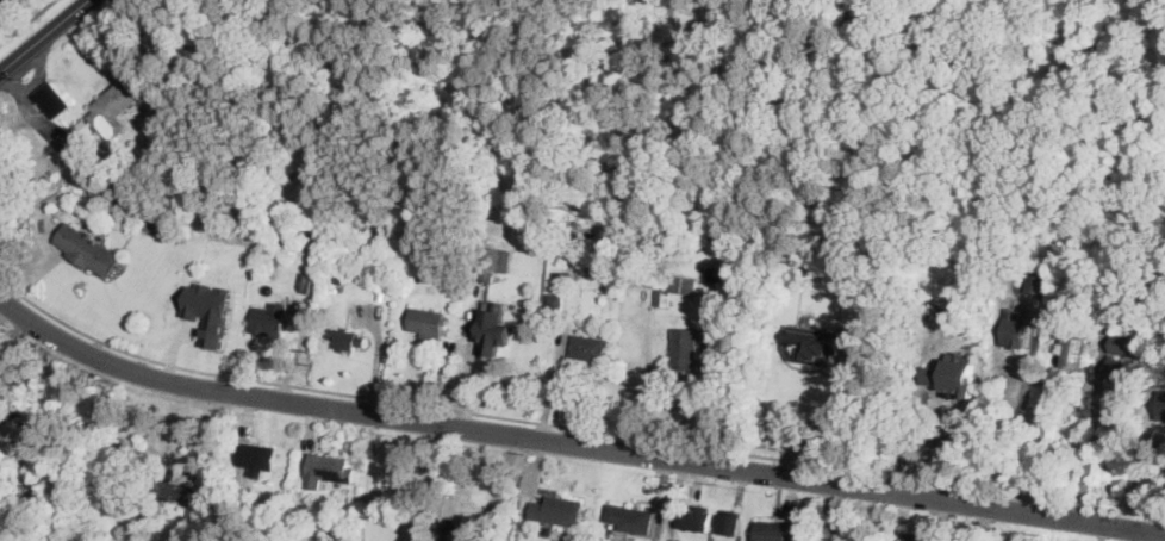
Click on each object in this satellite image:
road: (26, 20)
road: (44, 36)
park: (791, 98)
building: (54, 101)
building: (114, 106)
building: (83, 130)
building: (148, 145)
building: (107, 173)
building: (48, 178)
building: (98, 191)
building: (388, 237)
building: (619, 247)
building: (87, 248)
building: (497, 262)
building: (361, 274)
building: (337, 275)
building: (449, 279)
building: (312, 282)
building: (1036, 284)
building: (685, 285)
building: (664, 297)
building: (1064, 303)
building: (943, 305)
building: (555, 306)
building: (270, 319)
building: (426, 323)
building: (497, 325)
building: (1015, 329)
building: (349, 340)
building: (1121, 343)
building: (811, 344)
building: (588, 347)
building: (1074, 350)
building: (684, 353)
building: (1120, 368)
building: (4, 372)
building: (936, 385)
building: (1161, 403)
building: (6, 415)
road: (826, 421)
road: (571, 428)
road: (572, 442)
road: (1092, 444)
building: (343, 448)
building: (257, 458)
building: (330, 467)
road: (426, 481)
building: (23, 485)
building: (173, 493)
building: (559, 510)
building: (696, 517)
building: (631, 518)
building: (161, 521)
building: (297, 521)
building: (729, 523)
building: (195, 526)
building: (460, 527)
building: (779, 530)
road: (1103, 533)
building: (922, 537)

